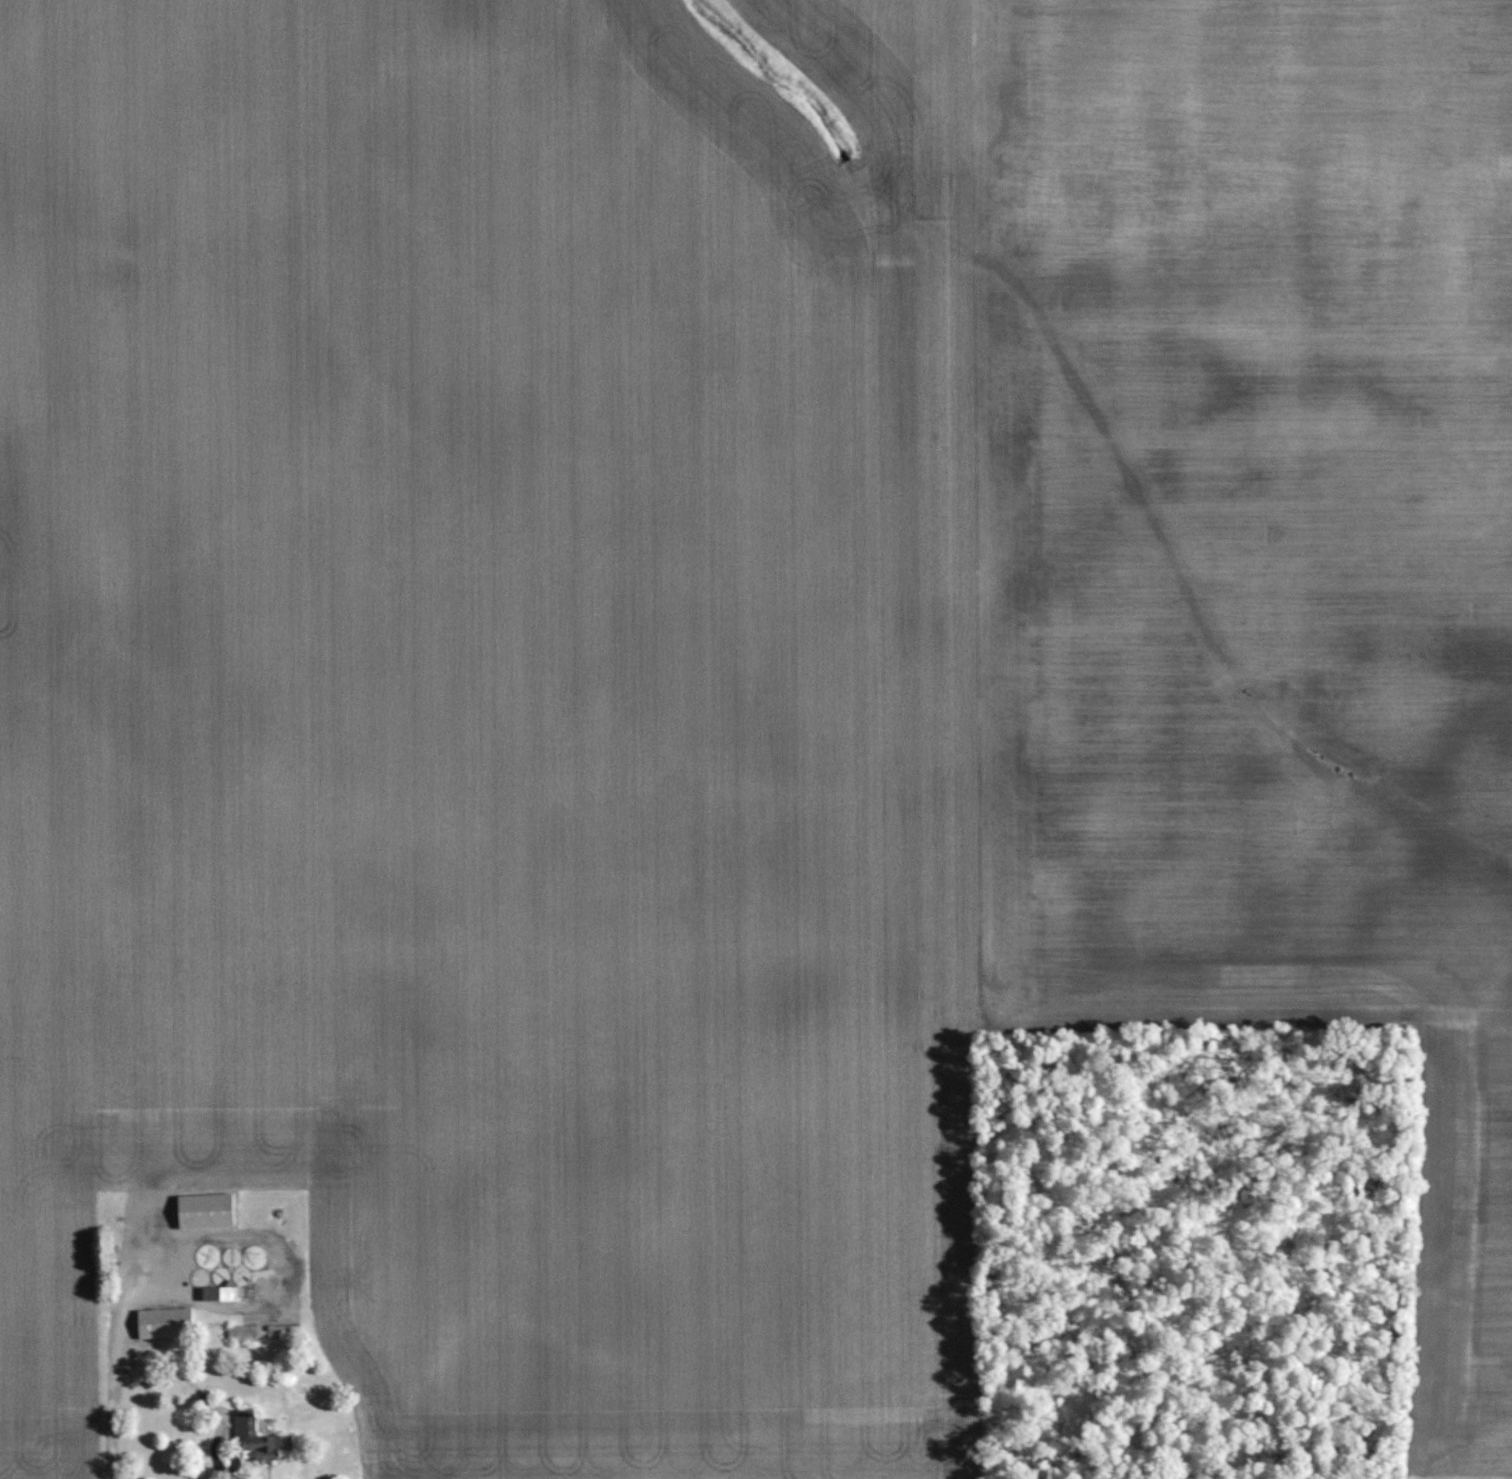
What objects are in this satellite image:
building: (203, 1210)
building: (249, 1257)
building: (218, 1294)
building: (164, 1323)
building: (241, 1334)
building: (257, 1439)

